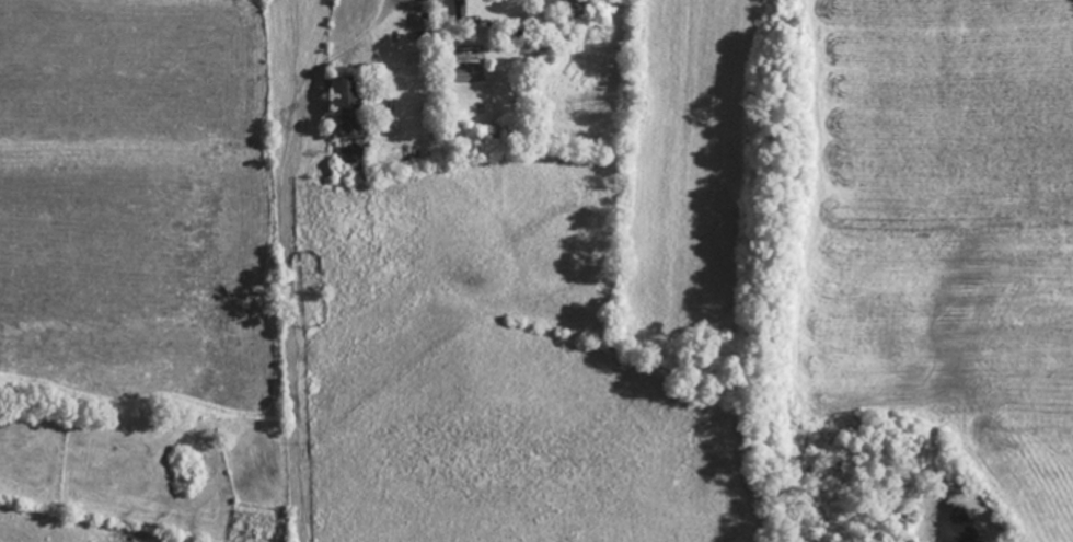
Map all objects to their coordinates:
building: (346, 127)
road: (292, 264)

